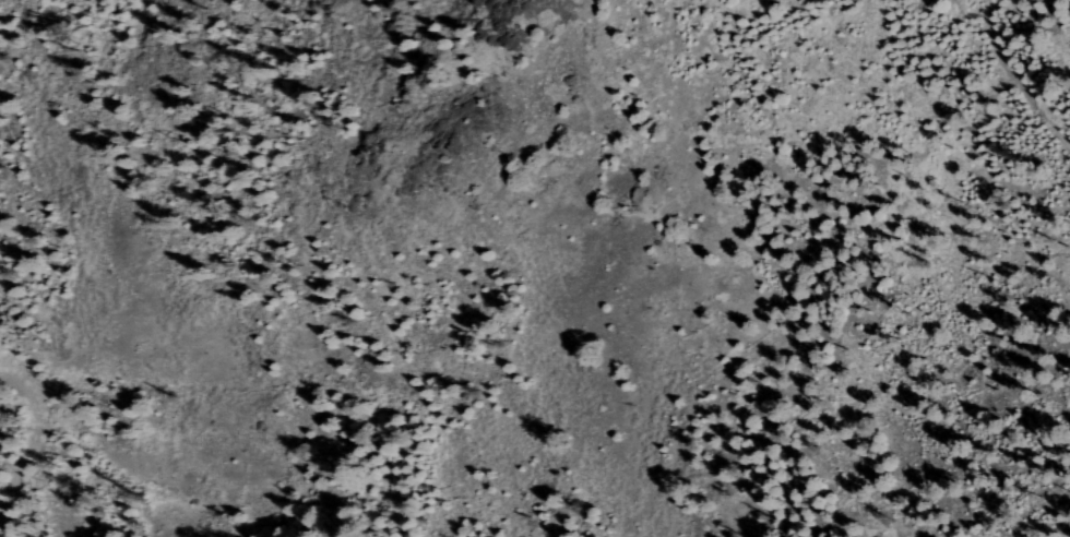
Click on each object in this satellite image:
road: (1018, 76)
road: (36, 442)

